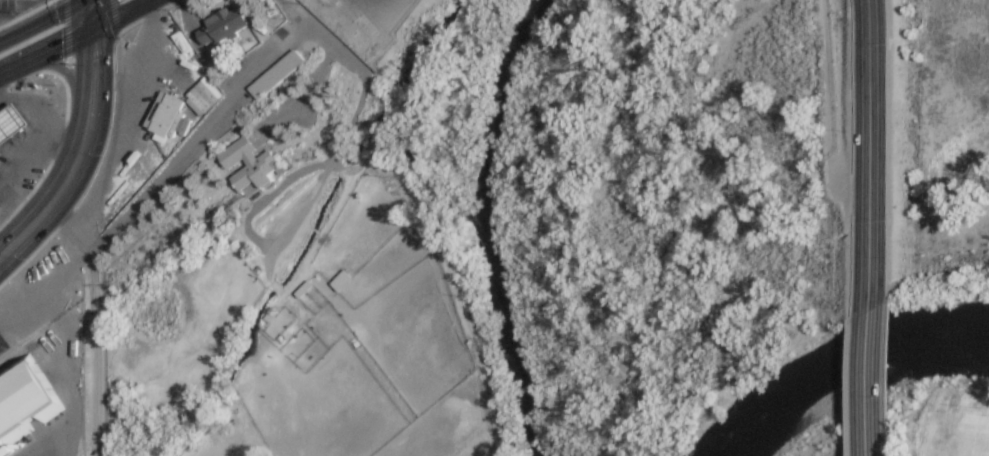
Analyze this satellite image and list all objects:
building: (286, 0)
road: (37, 18)
road: (90, 18)
road: (121, 18)
building: (924, 22)
building: (222, 26)
road: (198, 48)
road: (45, 55)
road: (64, 72)
building: (202, 97)
road: (304, 100)
road: (826, 110)
building: (163, 114)
building: (8, 119)
road: (199, 136)
road: (211, 139)
road: (335, 153)
road: (869, 156)
road: (77, 160)
building: (249, 165)
road: (265, 200)
river: (487, 225)
road: (887, 227)
road: (103, 233)
road: (452, 274)
building: (340, 281)
building: (303, 290)
road: (95, 321)
river: (843, 363)
road: (867, 384)
building: (25, 403)
crop: (954, 423)
park: (818, 430)

